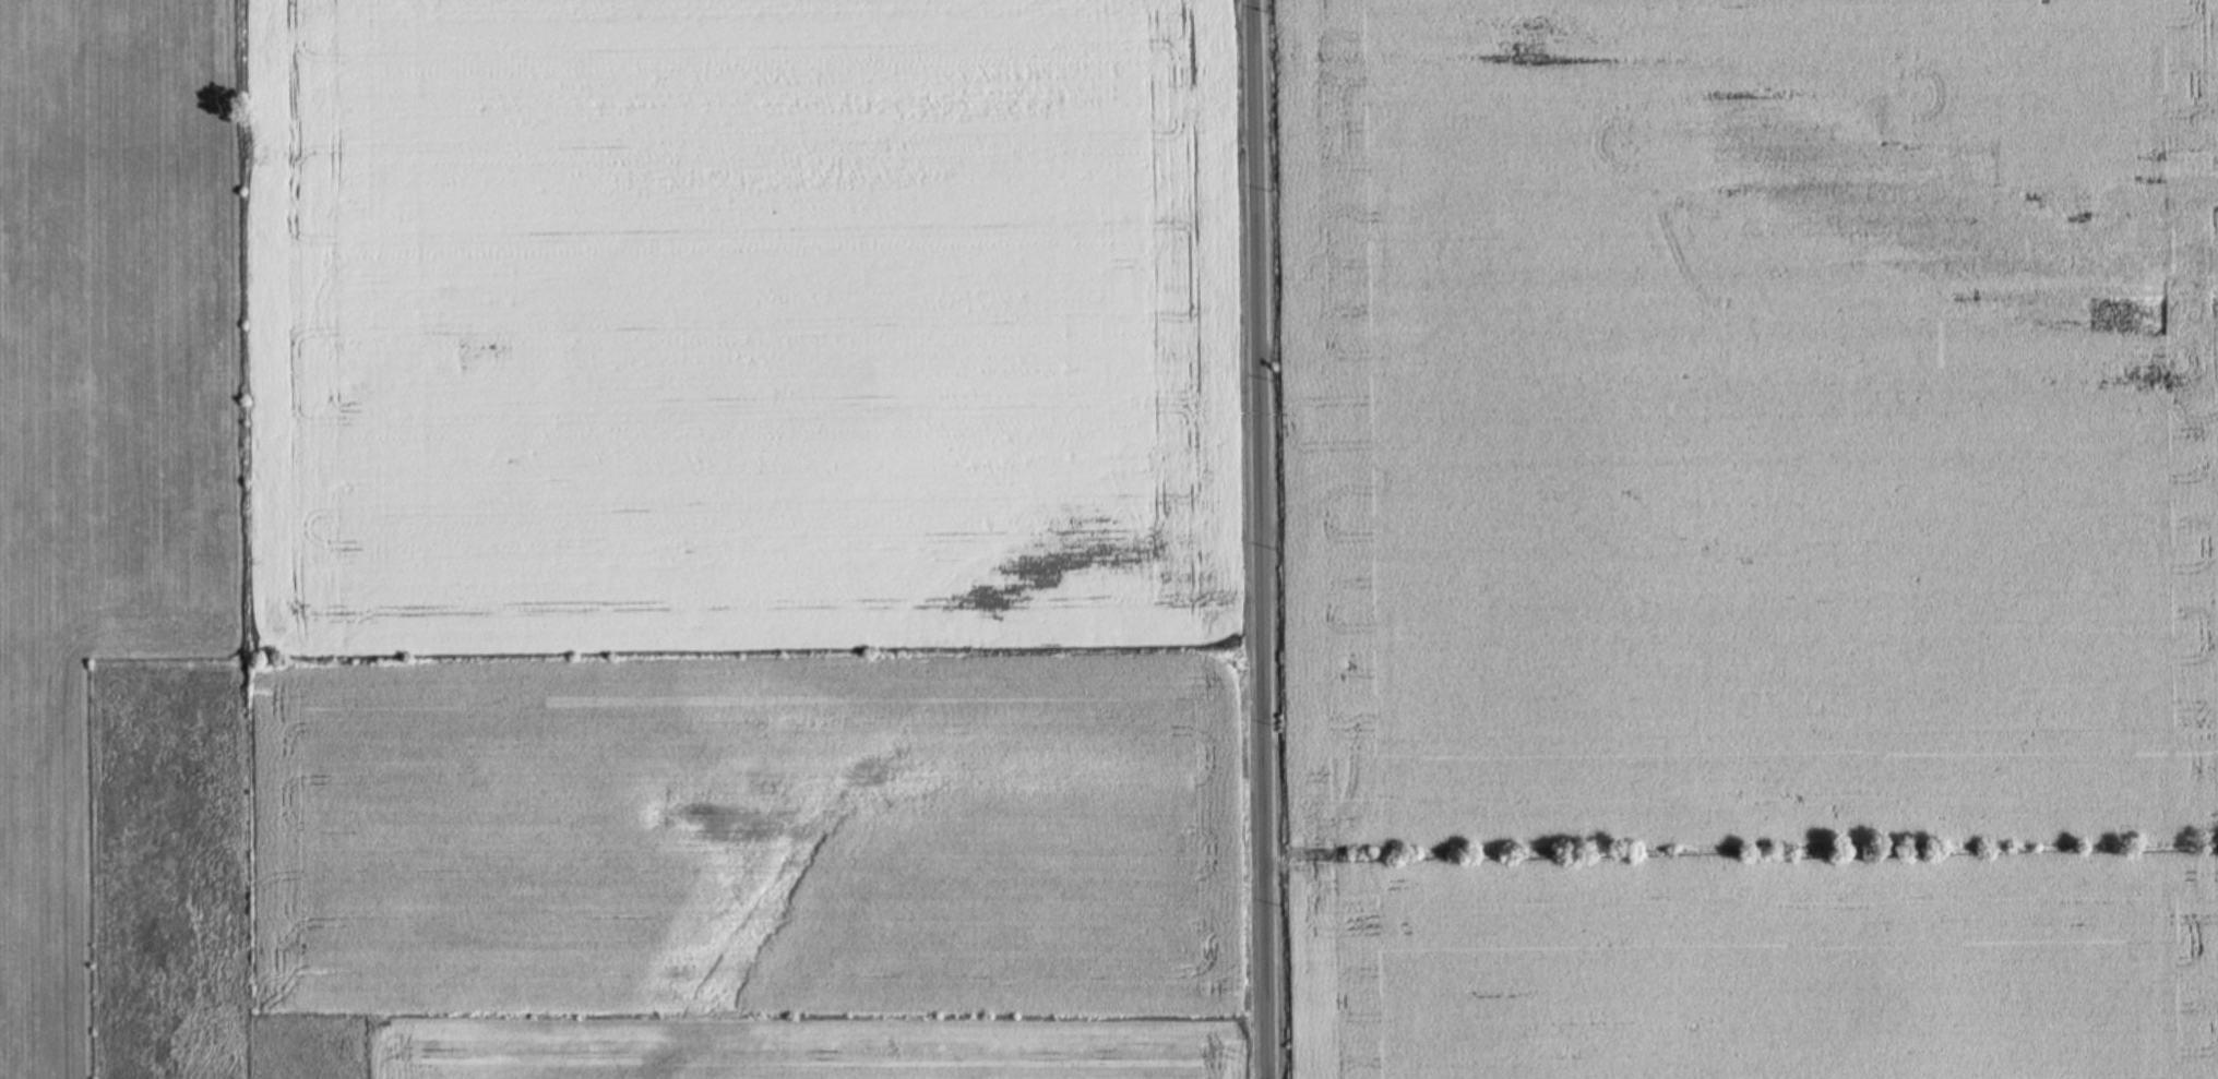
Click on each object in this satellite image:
road: (1257, 539)

